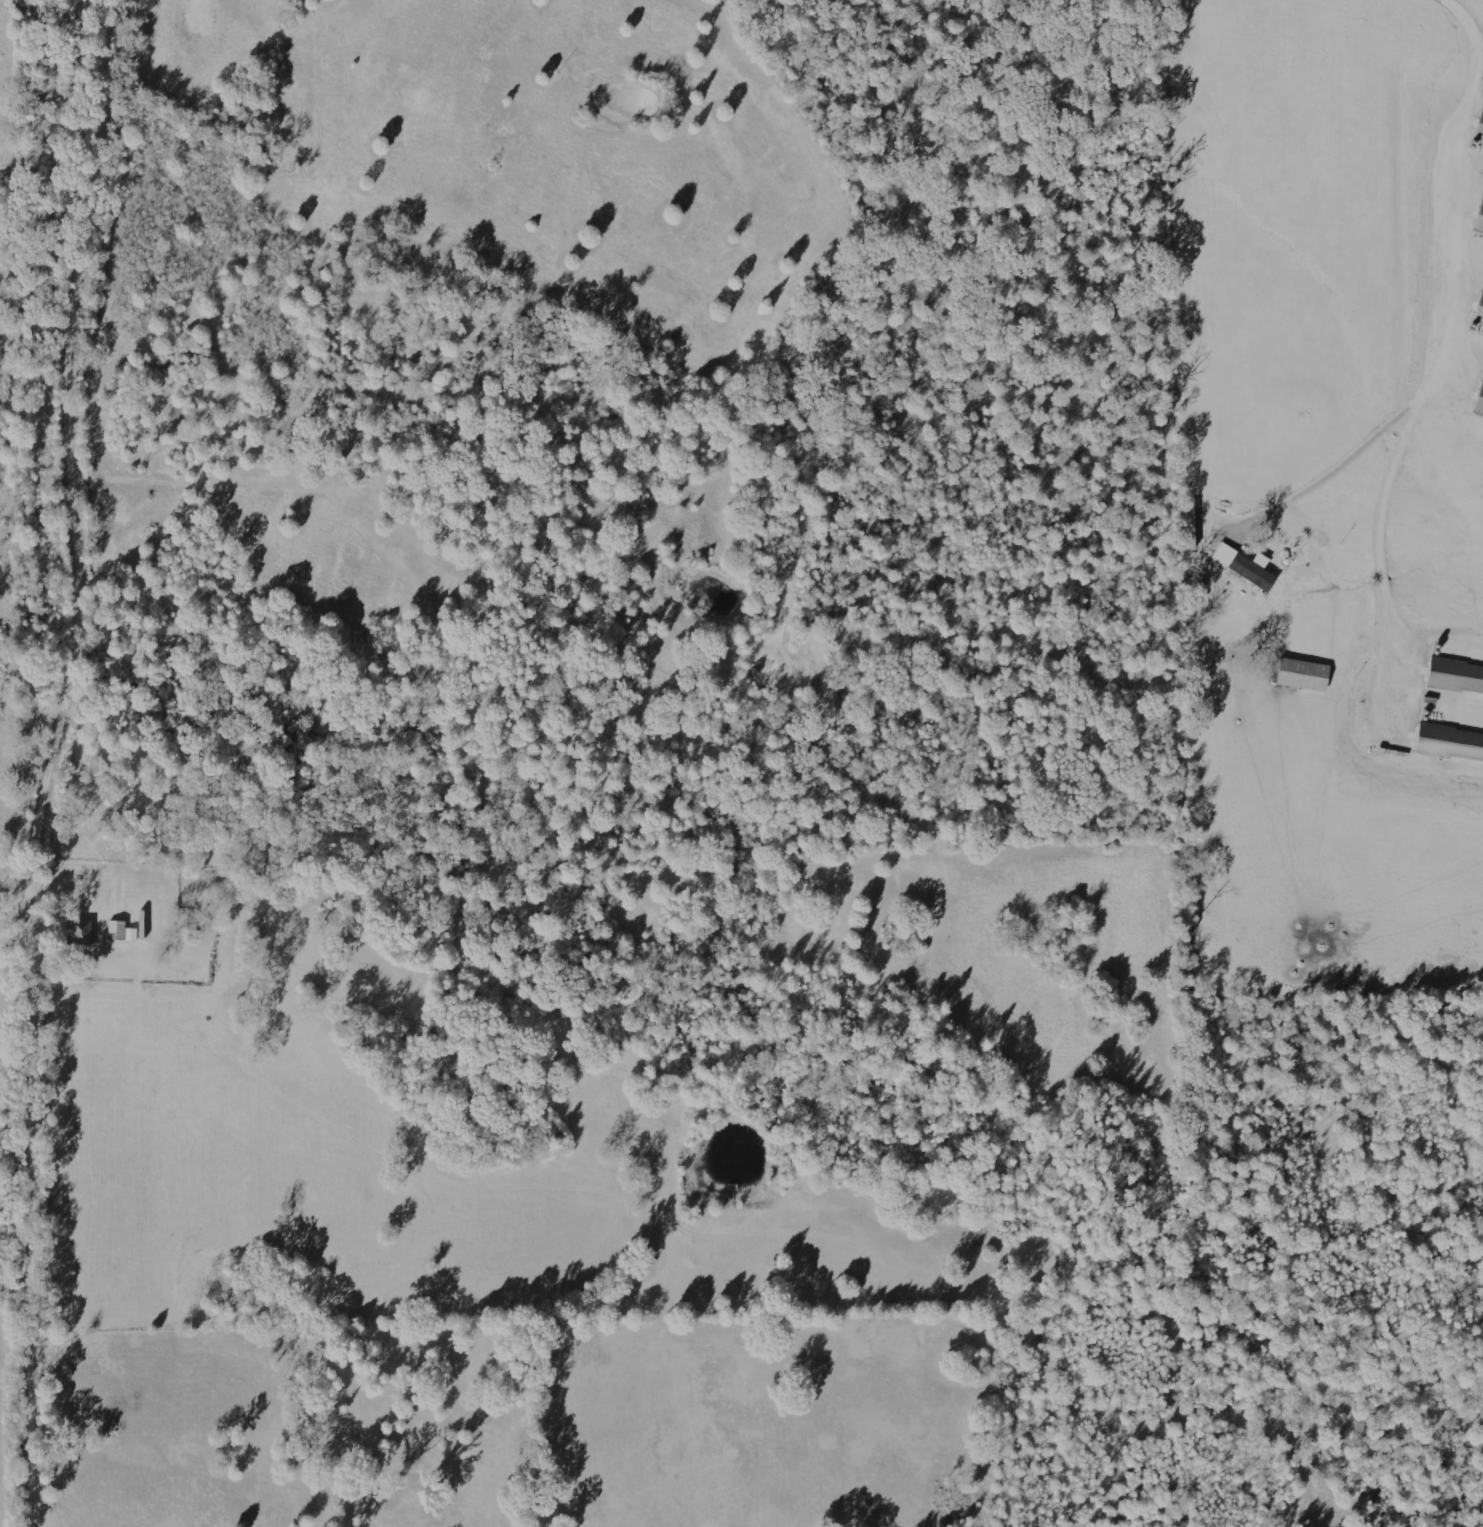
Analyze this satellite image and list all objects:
building: (1478, 133)
building: (1478, 220)
building: (1478, 312)
road: (82, 502)
building: (1245, 566)
building: (1300, 674)
building: (1454, 679)
building: (1448, 742)
building: (124, 930)
building: (84, 932)

